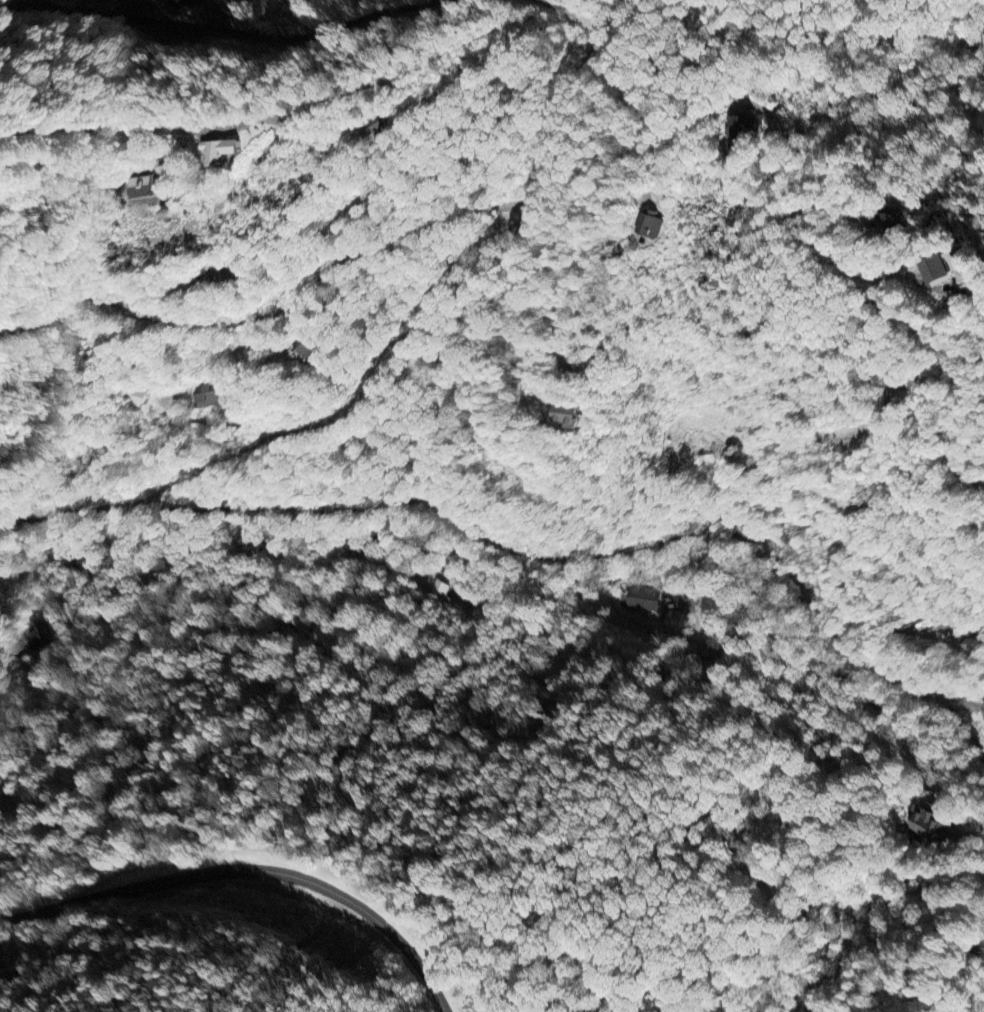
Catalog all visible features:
building: (174, 1)
road: (568, 8)
building: (743, 127)
road: (101, 128)
building: (214, 151)
building: (146, 187)
building: (651, 225)
building: (938, 270)
road: (770, 282)
road: (271, 313)
road: (429, 318)
building: (216, 396)
building: (138, 399)
building: (567, 417)
road: (514, 545)
building: (442, 587)
building: (643, 599)
road: (977, 707)
road: (977, 720)
road: (911, 755)
building: (930, 825)
road: (970, 835)
road: (249, 869)

